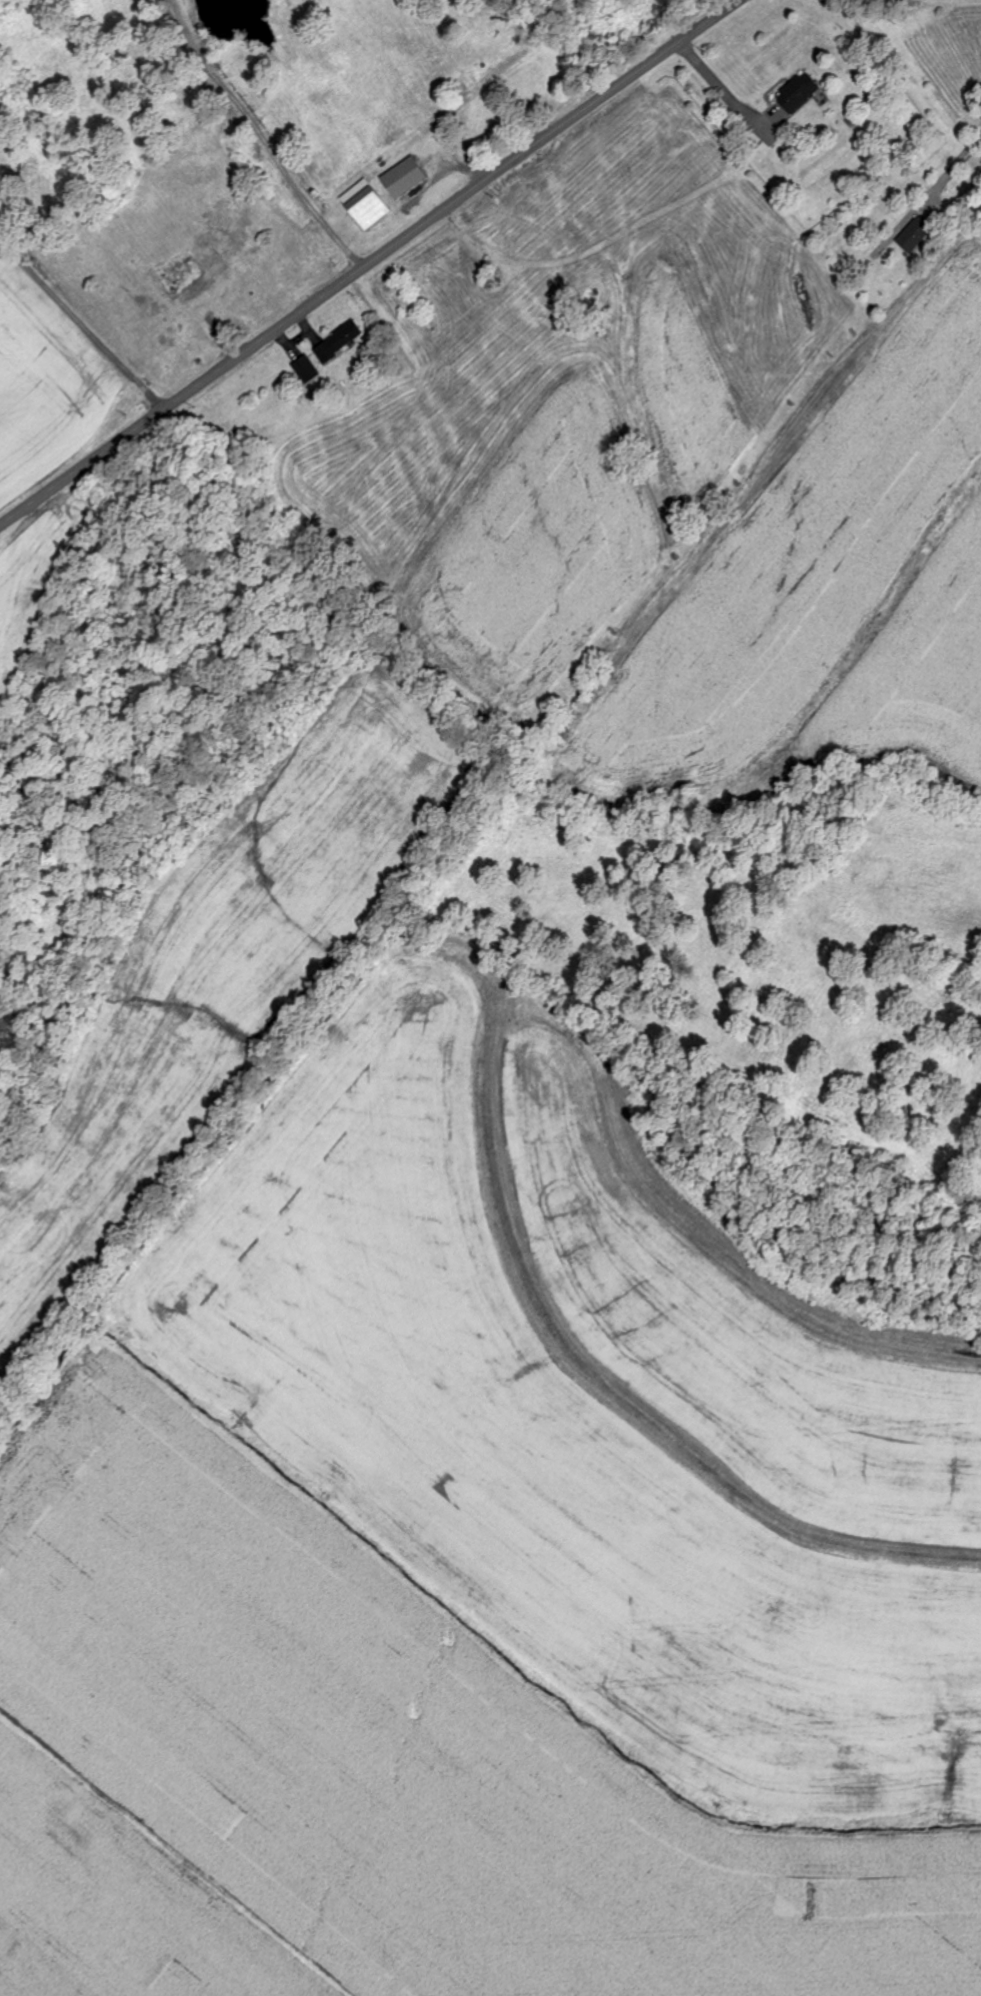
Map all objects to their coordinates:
building: (800, 95)
building: (405, 179)
building: (367, 206)
building: (916, 236)
road: (370, 263)
road: (98, 302)
building: (340, 342)
building: (308, 370)

